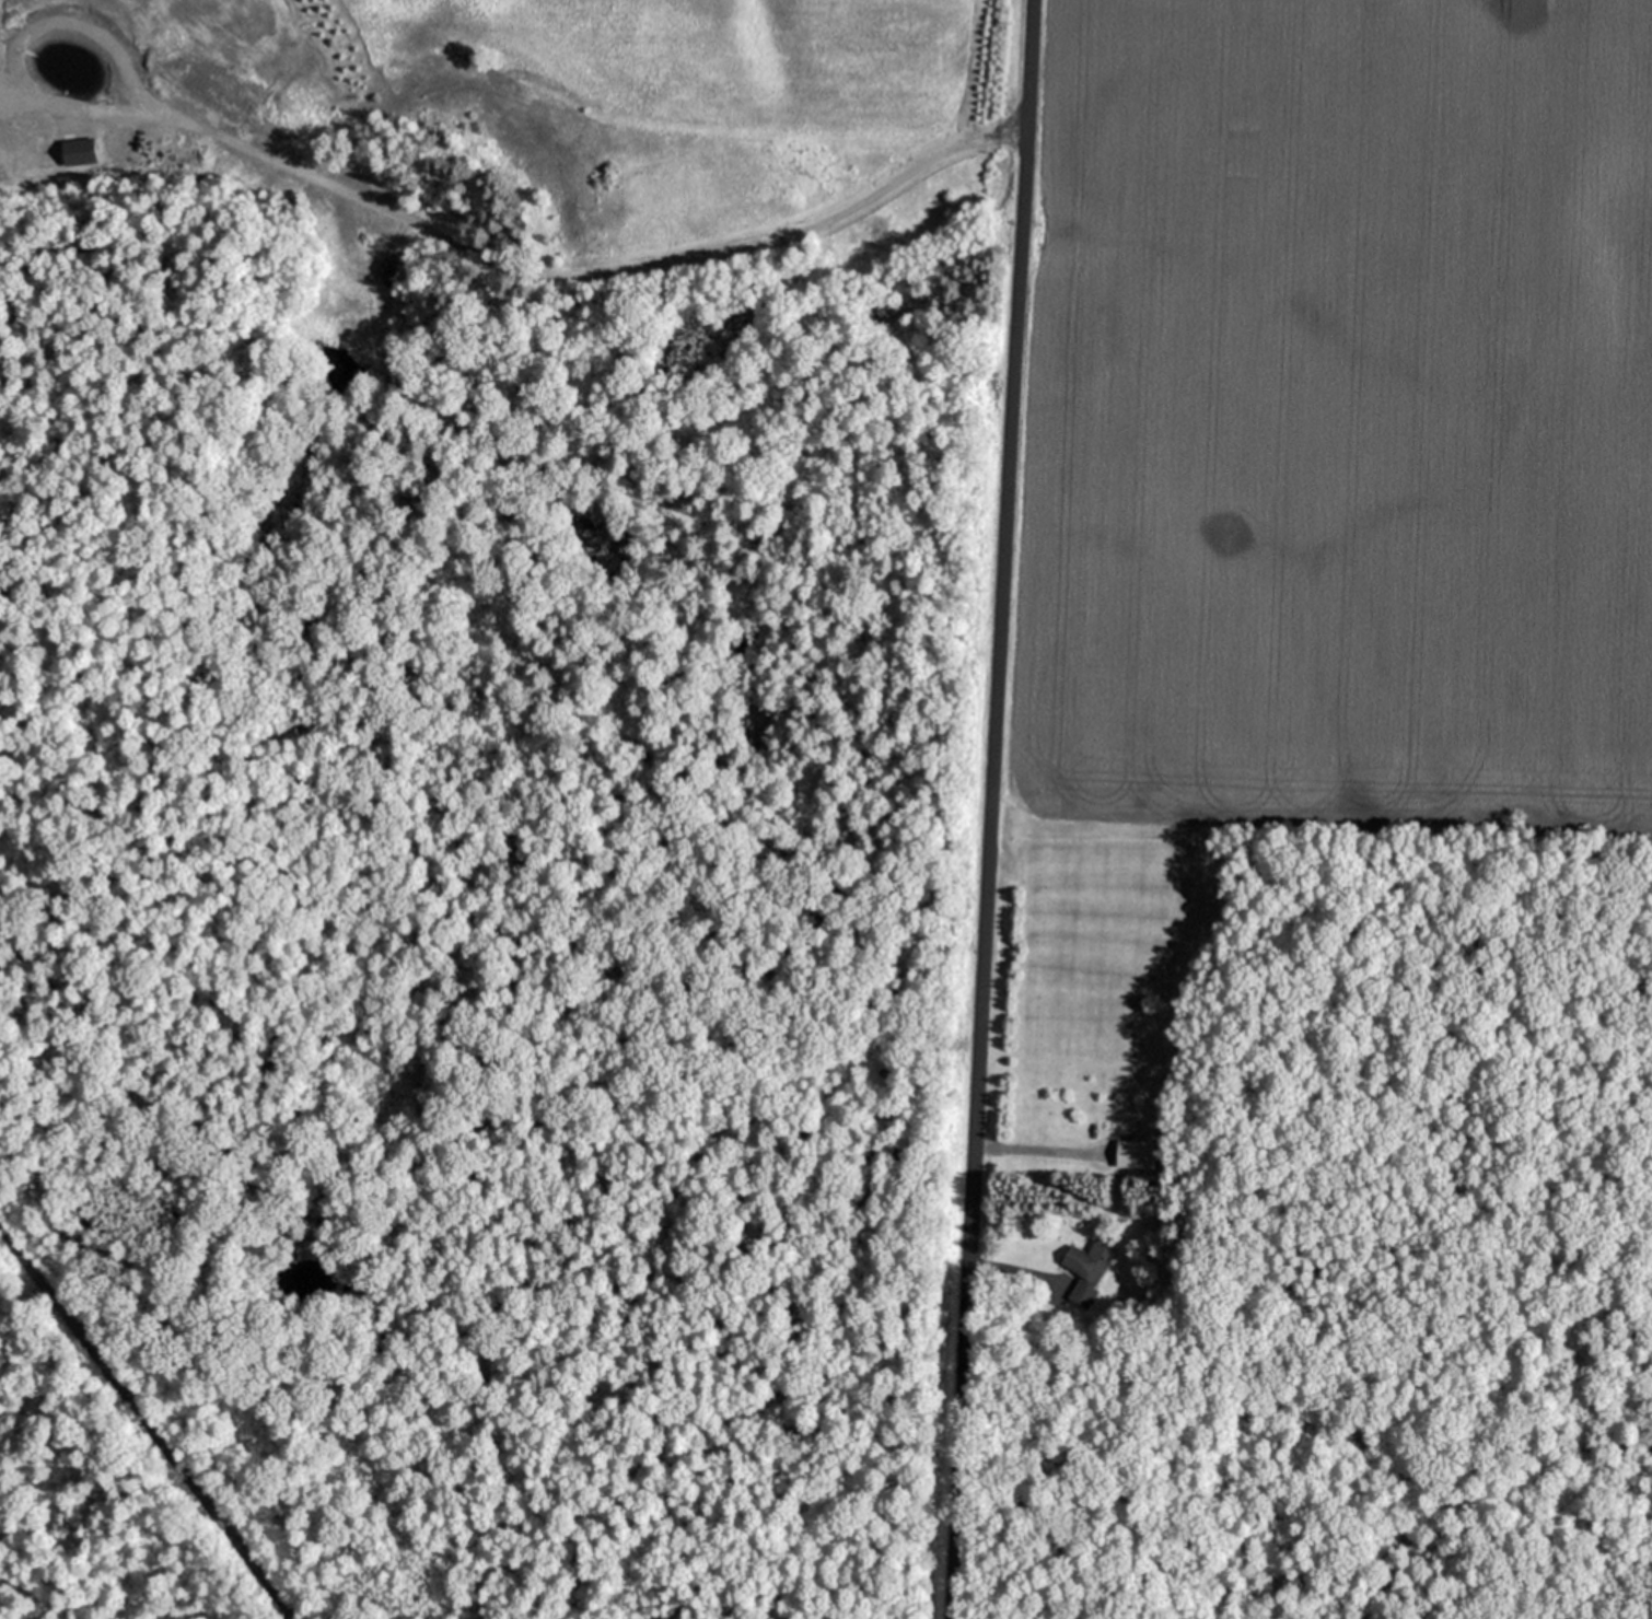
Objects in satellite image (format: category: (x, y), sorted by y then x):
road: (612, 276)
road: (987, 809)
road: (1028, 1148)
building: (1133, 1153)
building: (1087, 1258)
road: (1005, 1269)
building: (1080, 1294)
road: (149, 1421)

